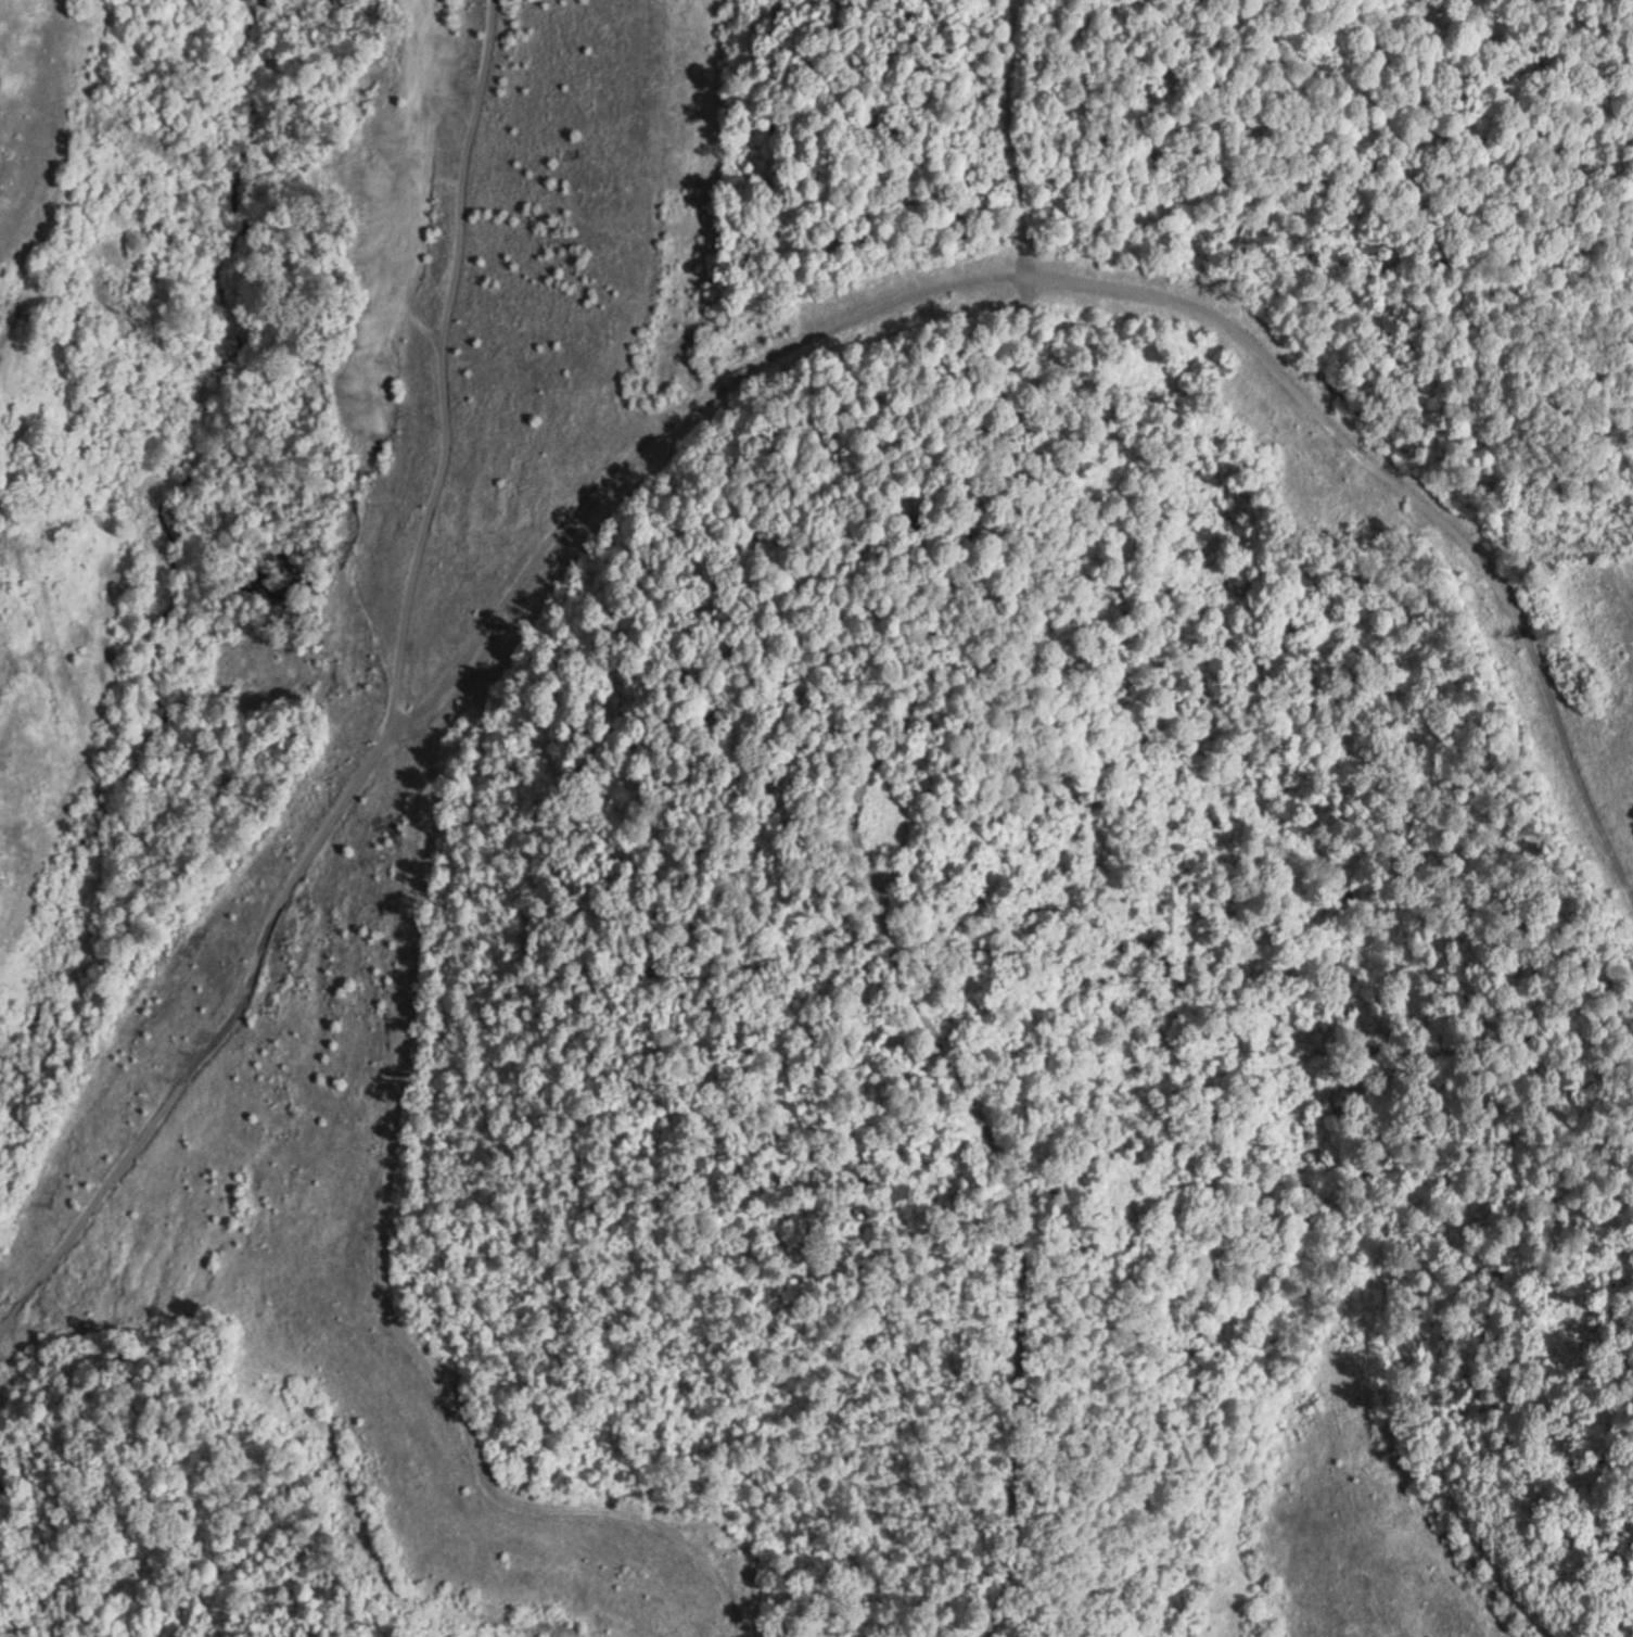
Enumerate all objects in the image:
road: (1574, 8)

